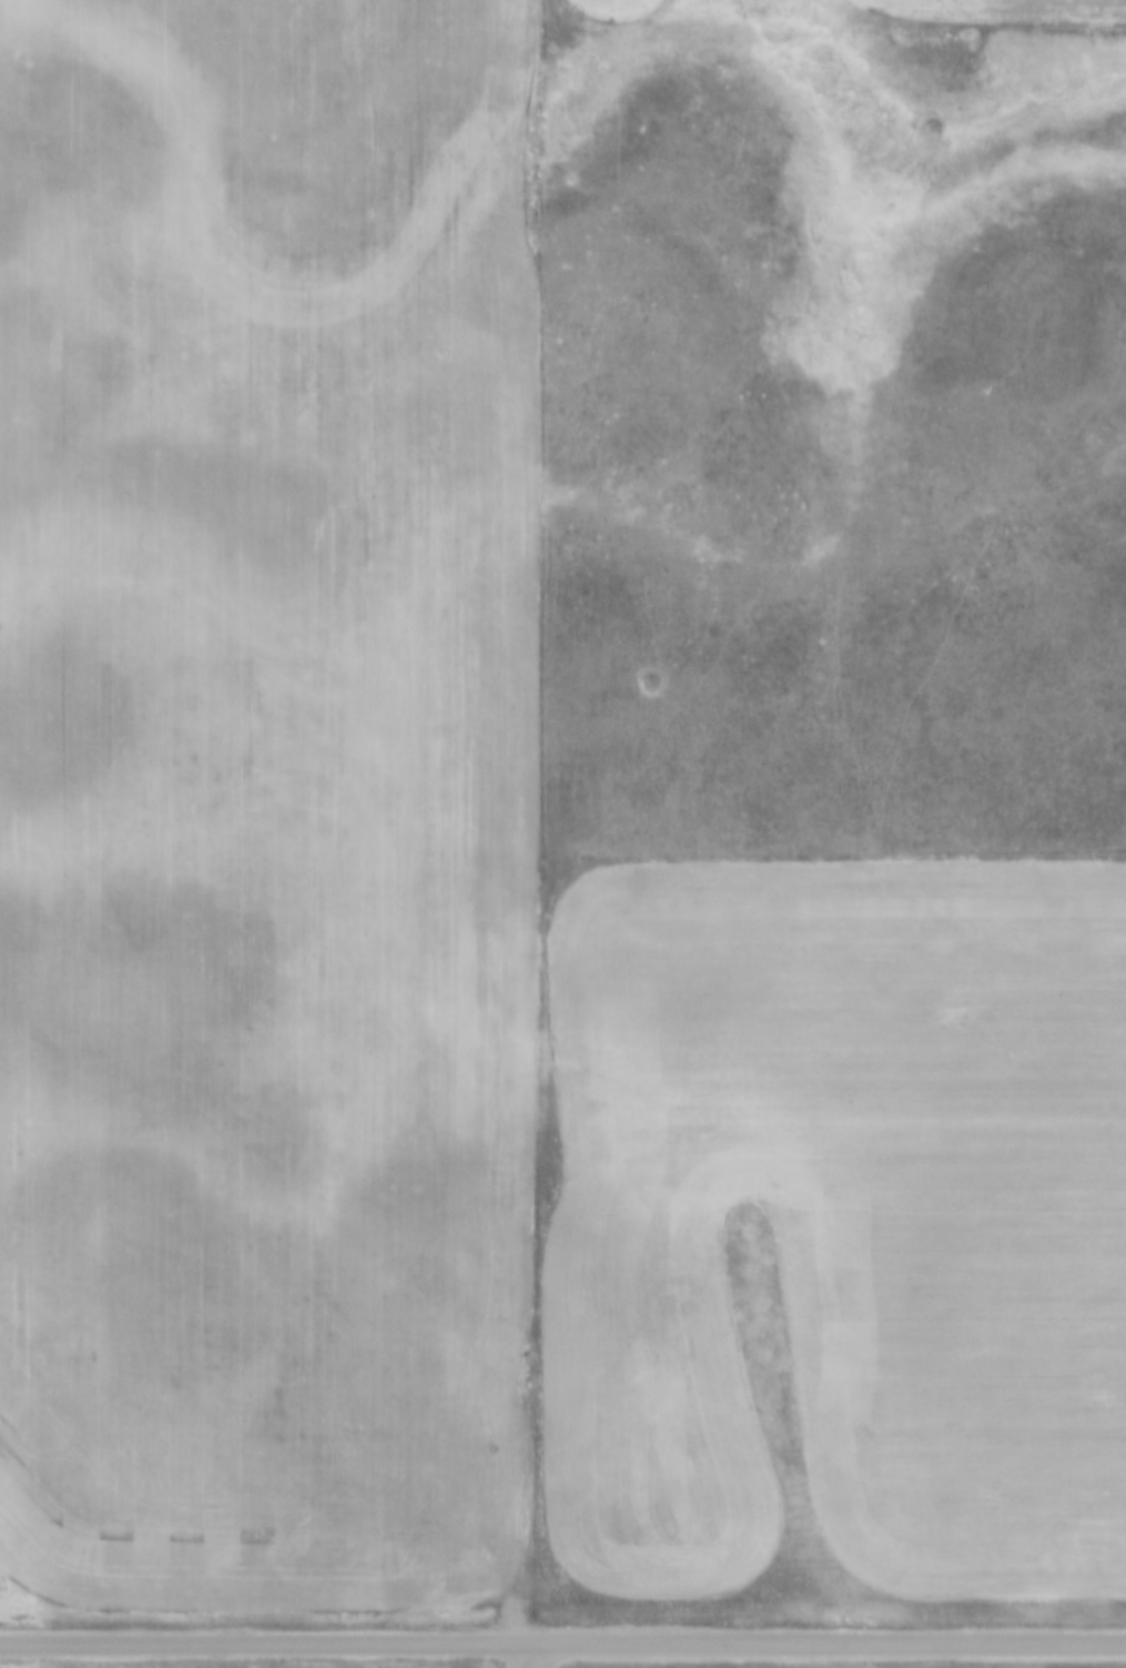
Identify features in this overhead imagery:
road: (562, 1649)
road: (523, 1658)

